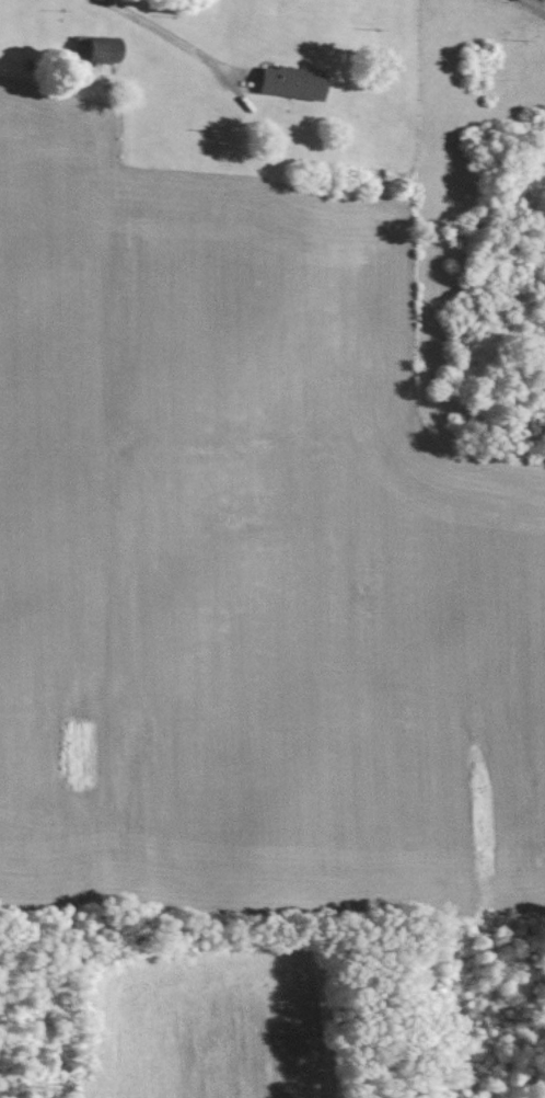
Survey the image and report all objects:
road: (544, 0)
road: (156, 37)
building: (294, 82)

